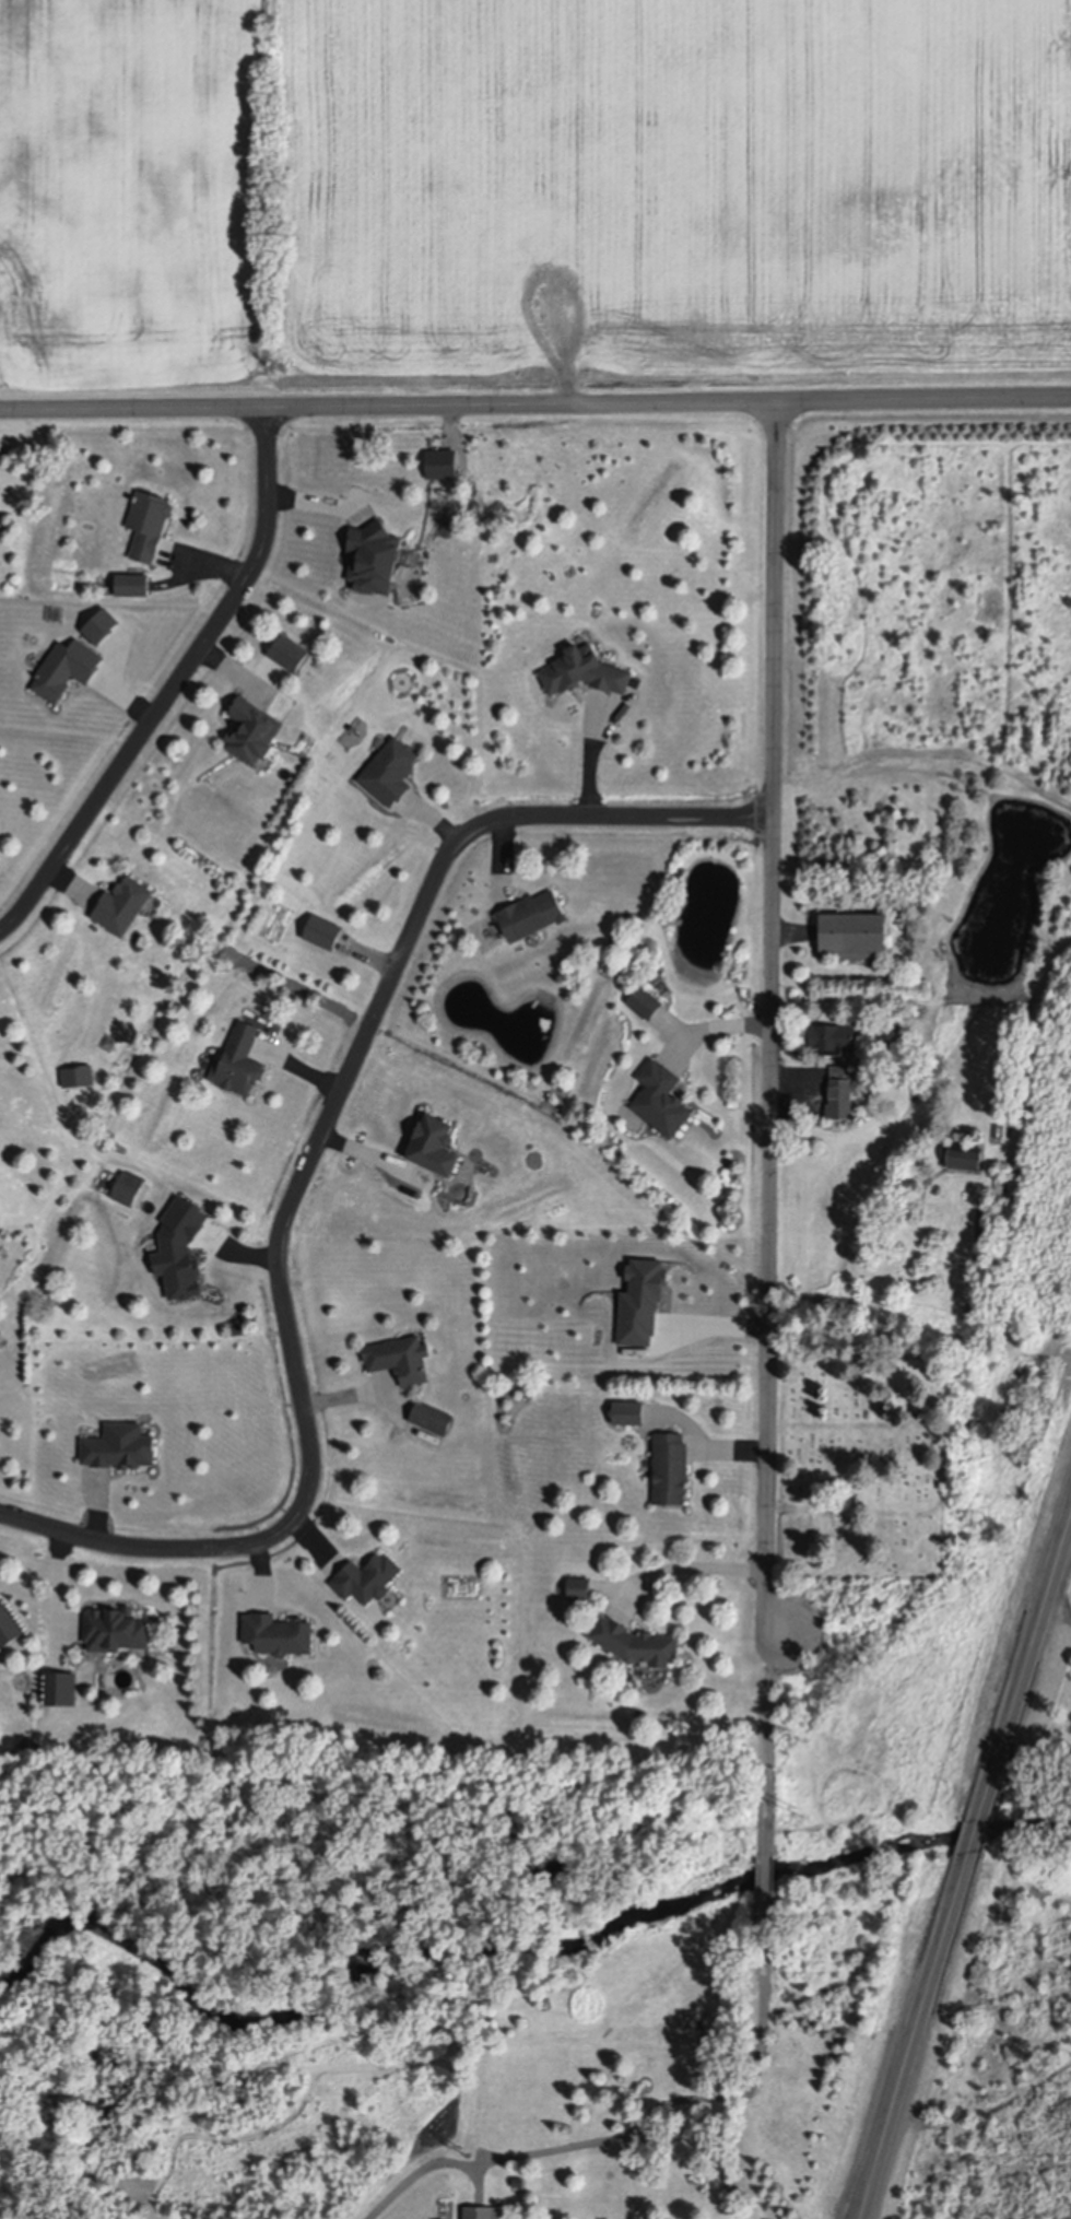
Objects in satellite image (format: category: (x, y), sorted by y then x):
building: (546, 184)
building: (522, 242)
building: (471, 266)
building: (625, 293)
road: (534, 403)
building: (148, 525)
building: (374, 557)
building: (132, 585)
building: (101, 626)
building: (66, 669)
building: (585, 672)
road: (175, 688)
building: (252, 731)
road: (598, 760)
building: (390, 772)
building: (122, 906)
building: (531, 916)
building: (322, 932)
building: (852, 937)
building: (645, 1003)
road: (772, 1024)
road: (711, 1029)
building: (832, 1041)
building: (239, 1062)
building: (78, 1077)
building: (841, 1094)
building: (661, 1101)
building: (434, 1148)
building: (963, 1158)
road: (308, 1167)
building: (128, 1189)
building: (629, 1265)
building: (400, 1360)
building: (432, 1420)
building: (119, 1448)
building: (670, 1471)
road: (687, 1568)
building: (367, 1581)
building: (579, 1590)
building: (8, 1630)
building: (116, 1633)
building: (278, 1636)
building: (636, 1646)
road: (767, 1746)
power tower: (797, 1813)
road: (966, 1872)
road: (767, 1880)
road: (639, 2132)
power tower: (461, 2151)
building: (481, 2215)

